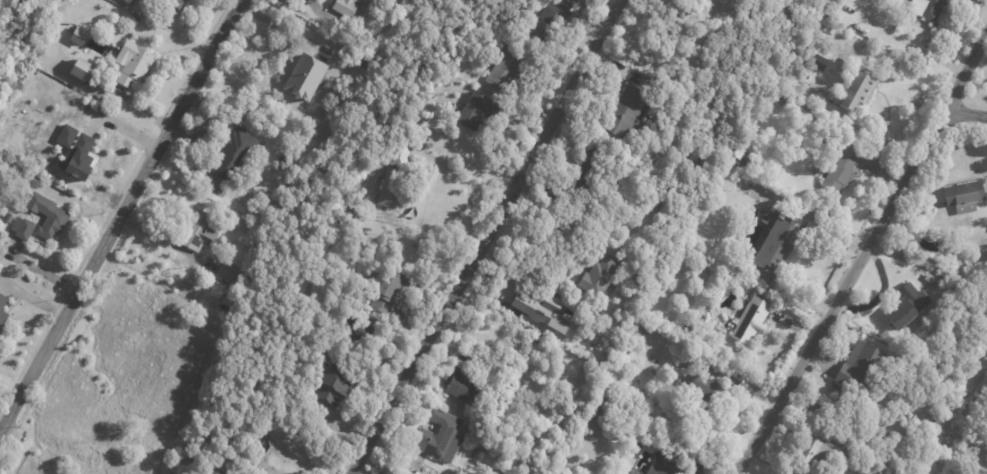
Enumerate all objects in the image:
building: (947, 0)
building: (173, 4)
building: (347, 7)
building: (920, 8)
building: (558, 12)
building: (878, 30)
building: (535, 31)
building: (78, 36)
building: (355, 39)
building: (64, 61)
building: (133, 63)
building: (820, 64)
building: (508, 69)
building: (82, 70)
building: (306, 76)
building: (862, 88)
building: (777, 93)
building: (786, 98)
building: (796, 106)
building: (476, 108)
building: (626, 111)
road: (965, 115)
building: (398, 151)
building: (233, 153)
building: (83, 155)
building: (746, 156)
building: (737, 162)
building: (839, 164)
building: (573, 181)
building: (726, 181)
road: (468, 183)
building: (390, 189)
building: (958, 196)
road: (119, 214)
building: (47, 216)
building: (9, 218)
building: (23, 228)
building: (196, 229)
road: (486, 236)
building: (238, 238)
building: (779, 247)
road: (863, 254)
building: (230, 275)
building: (600, 278)
building: (933, 280)
building: (659, 287)
building: (391, 292)
building: (907, 307)
building: (543, 312)
building: (2, 313)
building: (752, 321)
building: (318, 323)
building: (637, 333)
building: (357, 335)
building: (862, 366)
building: (462, 386)
building: (334, 388)
building: (635, 392)
building: (507, 398)
building: (703, 403)
building: (675, 423)
building: (243, 433)
building: (440, 437)
building: (288, 441)
building: (820, 450)
building: (271, 459)
building: (226, 464)
building: (659, 464)
road: (3, 470)

